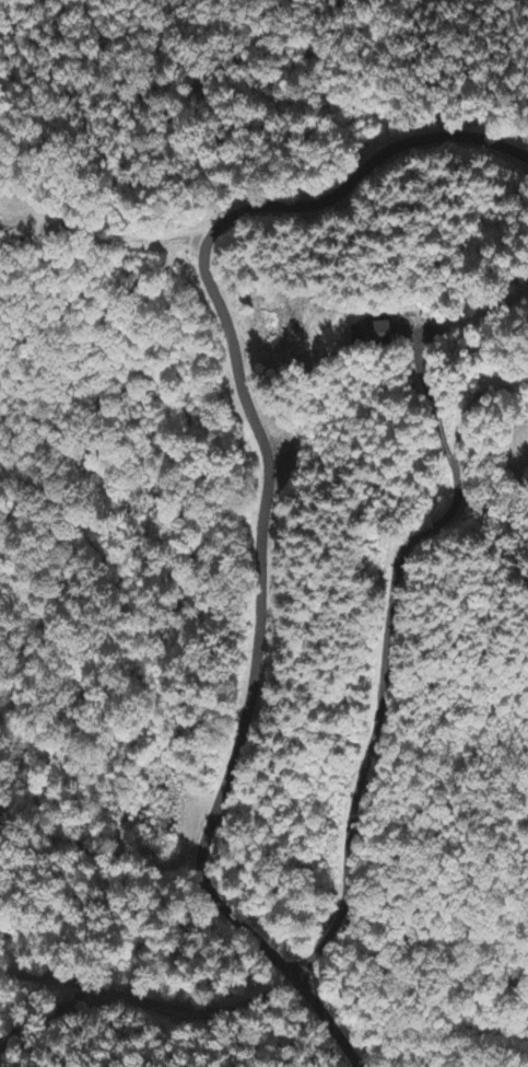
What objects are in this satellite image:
building: (372, 336)
road: (470, 398)
road: (526, 443)
road: (263, 501)
road: (384, 669)
road: (339, 918)
road: (313, 956)
road: (148, 1001)

